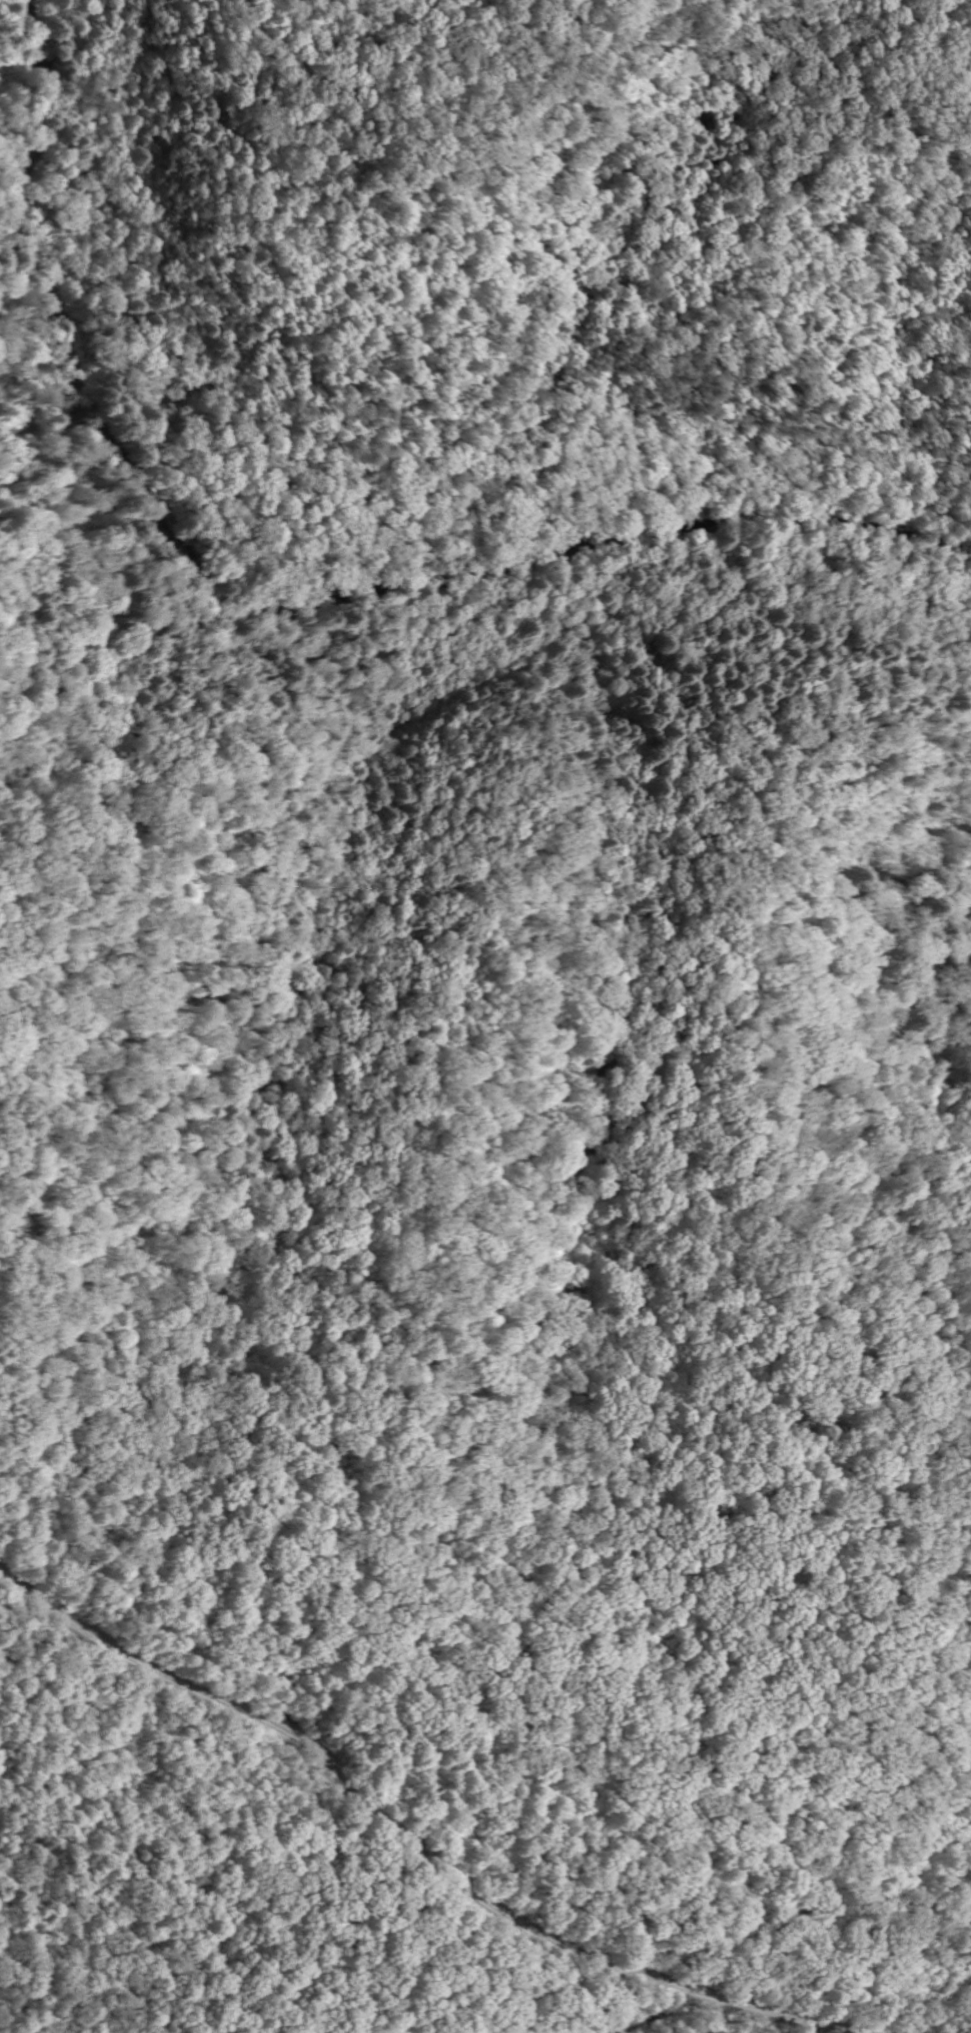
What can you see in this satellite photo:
road: (311, 1749)
road: (669, 1984)

